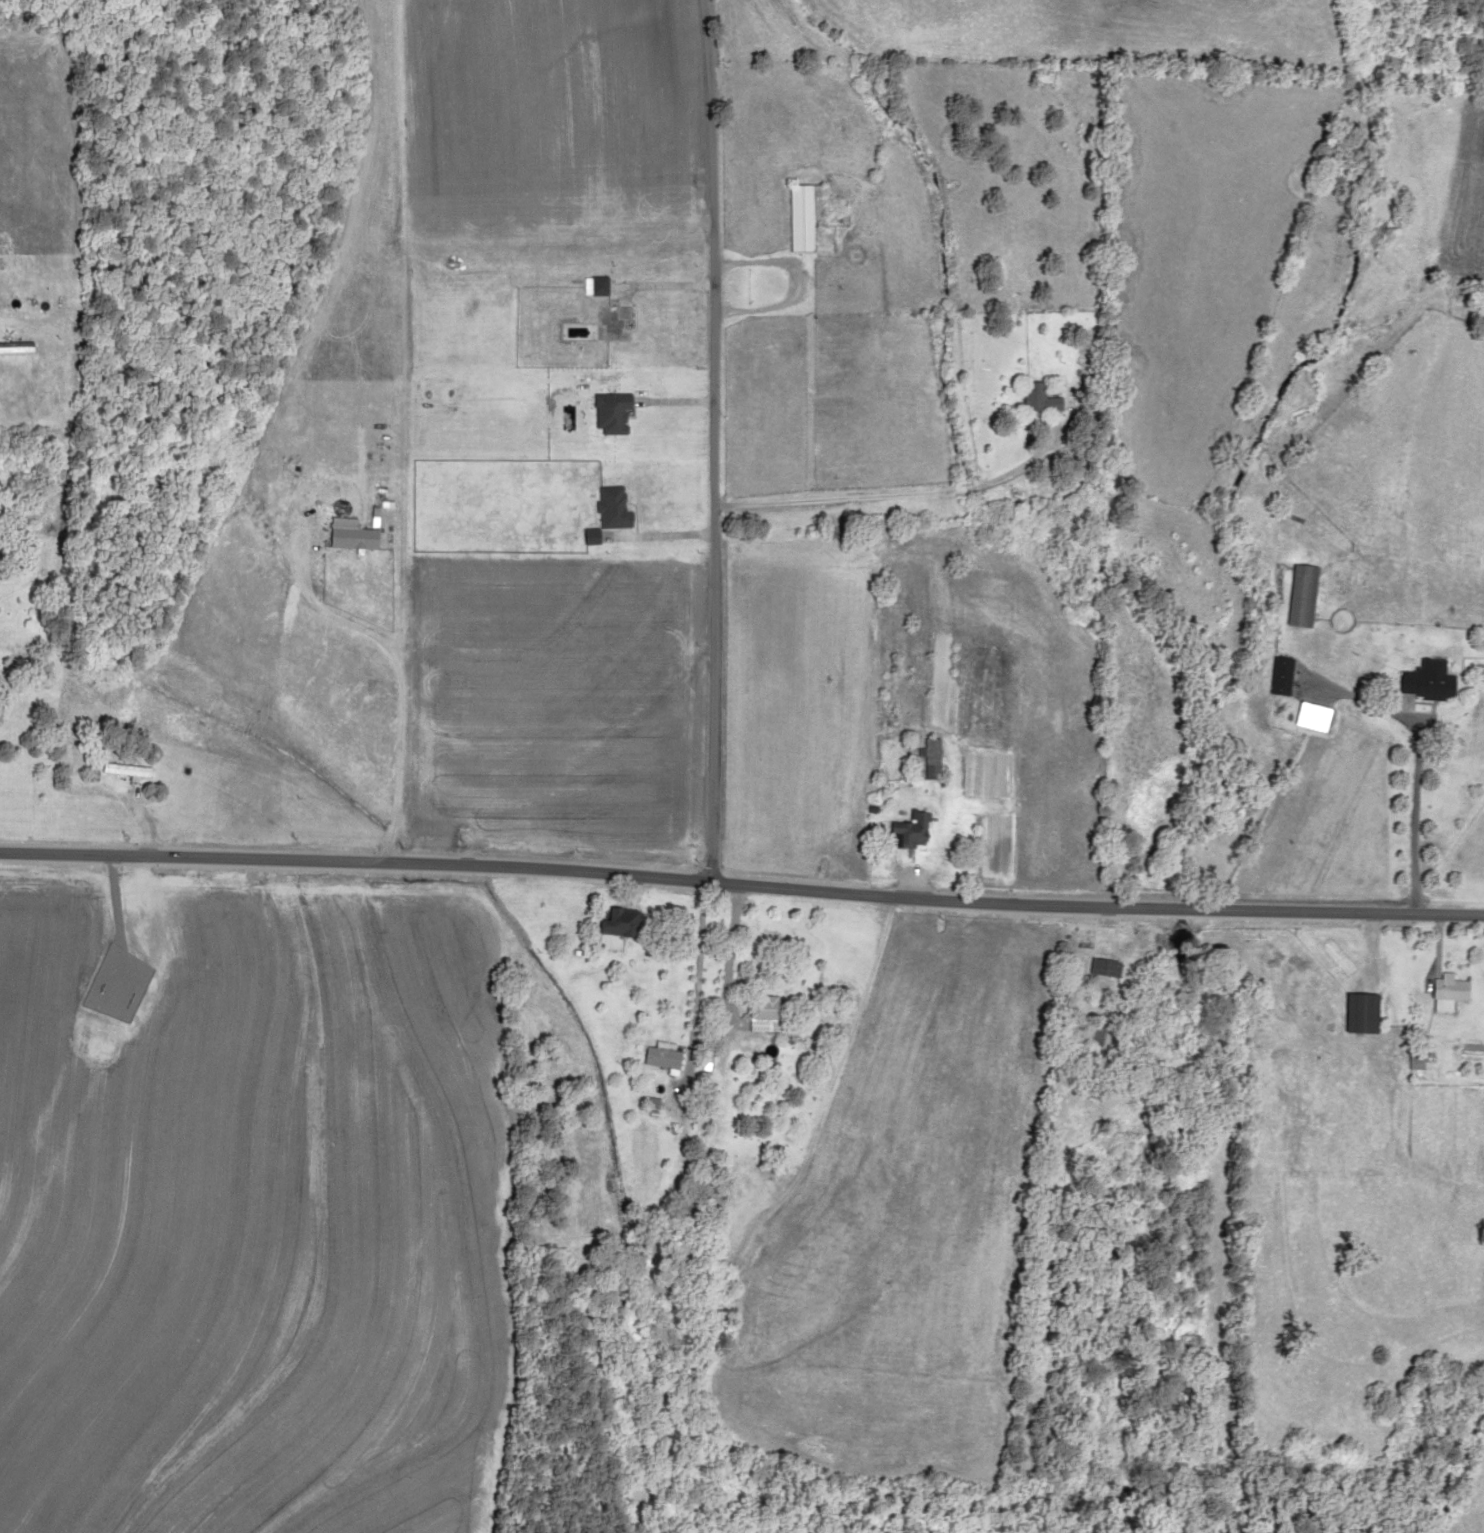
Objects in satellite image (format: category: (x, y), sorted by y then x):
building: (1036, 79)
building: (796, 216)
building: (1030, 400)
building: (606, 414)
road: (714, 440)
building: (608, 509)
building: (1299, 596)
building: (1279, 676)
building: (1422, 681)
building: (1309, 717)
building: (923, 756)
building: (122, 770)
building: (900, 829)
road: (742, 880)
building: (617, 922)
building: (1100, 967)
building: (1444, 988)
building: (1353, 1012)
building: (763, 1014)
building: (1086, 1033)
building: (1409, 1056)

